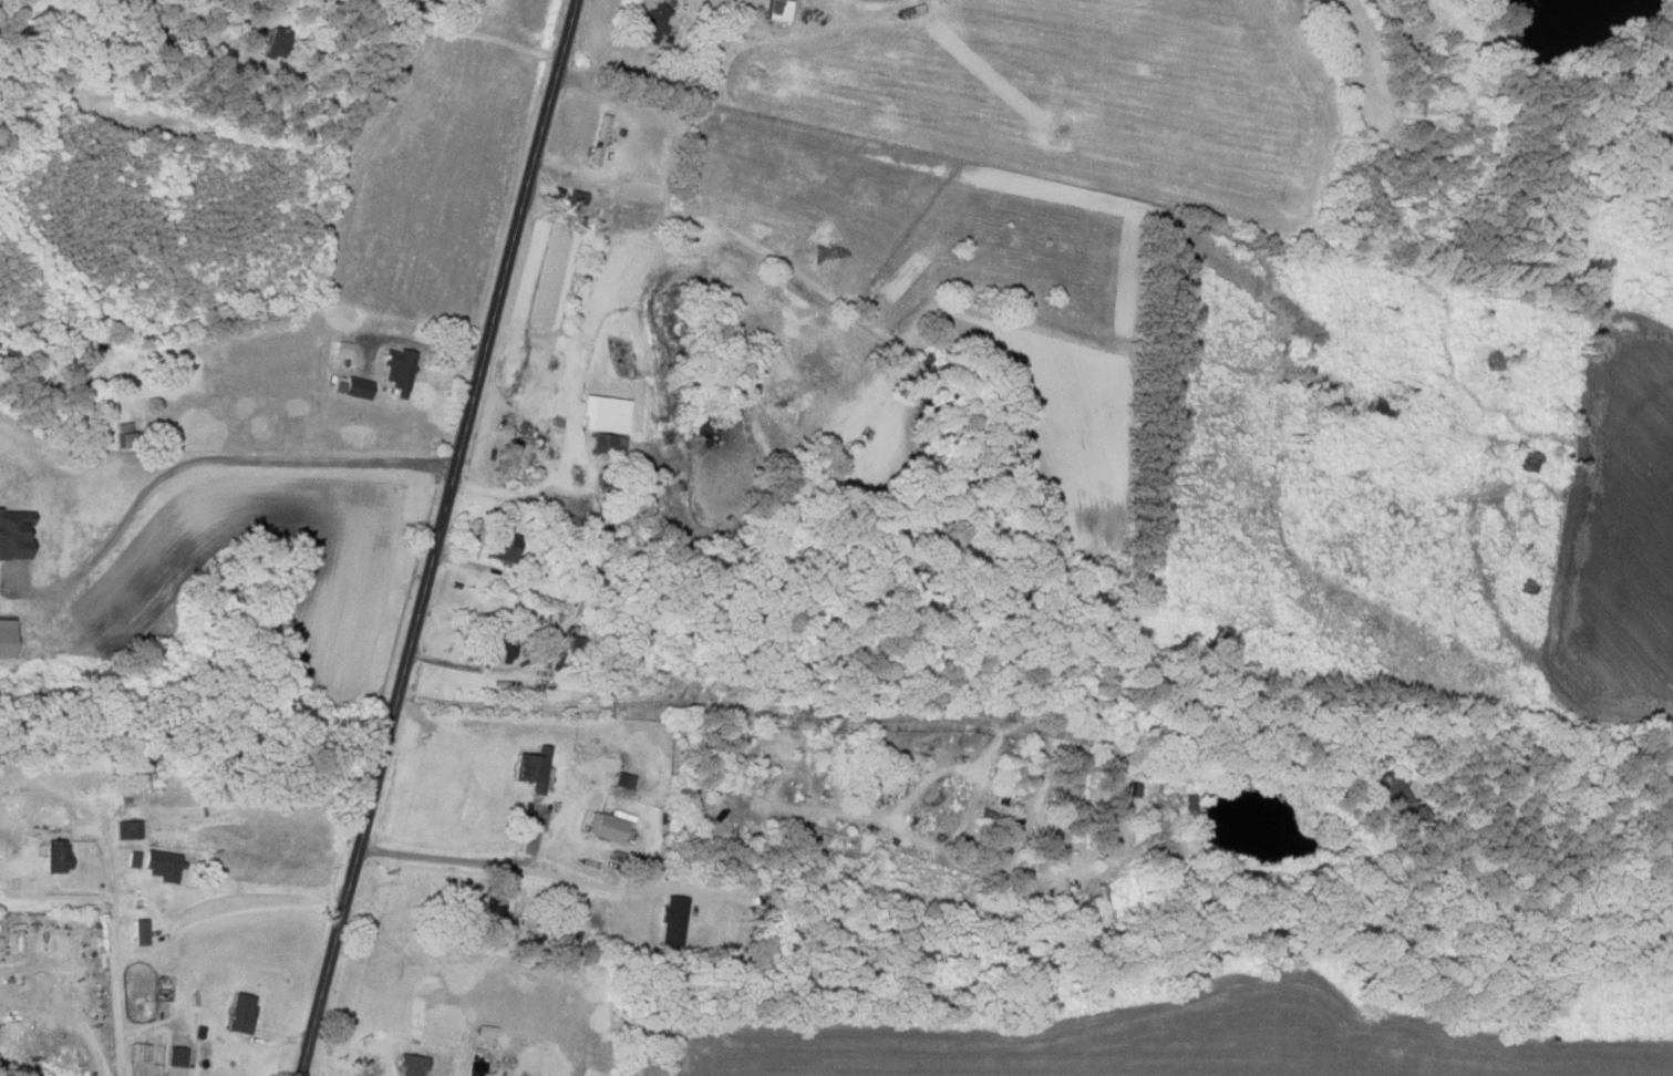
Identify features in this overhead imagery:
building: (778, 10)
building: (654, 24)
road: (433, 30)
building: (271, 41)
road: (420, 340)
building: (397, 370)
building: (353, 386)
road: (574, 425)
building: (123, 434)
building: (609, 443)
road: (202, 462)
building: (13, 534)
road: (431, 537)
building: (502, 547)
building: (6, 638)
building: (575, 644)
building: (499, 651)
building: (558, 658)
road: (876, 720)
building: (531, 768)
building: (1394, 797)
building: (605, 826)
building: (126, 829)
road: (457, 847)
building: (55, 856)
building: (132, 859)
building: (161, 865)
road: (587, 879)
road: (256, 889)
road: (111, 896)
road: (1, 898)
road: (55, 900)
building: (138, 932)
building: (158, 1008)
building: (240, 1013)
building: (175, 1061)
building: (412, 1065)
building: (477, 1066)
road: (297, 1074)

